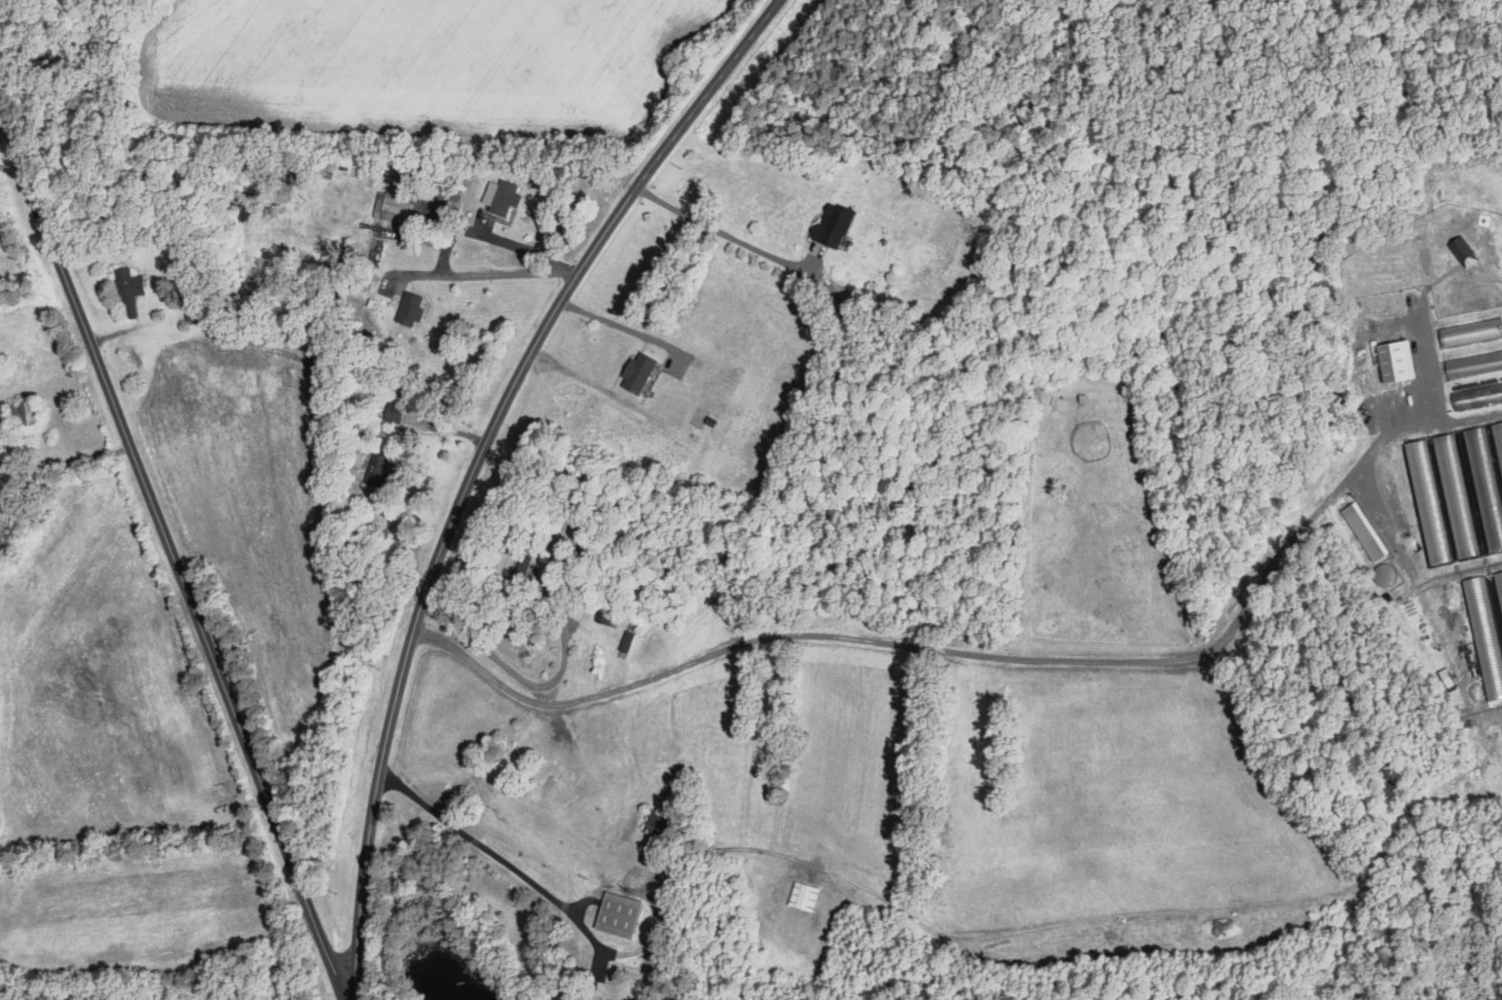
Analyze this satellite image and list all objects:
building: (503, 197)
building: (394, 206)
building: (830, 226)
road: (722, 230)
road: (446, 243)
building: (1464, 248)
building: (128, 290)
building: (409, 309)
road: (613, 322)
building: (1470, 329)
building: (1398, 357)
building: (1475, 364)
building: (636, 372)
building: (1479, 393)
building: (21, 410)
building: (392, 412)
road: (476, 465)
building: (375, 471)
building: (1460, 487)
building: (1361, 524)
road: (173, 555)
building: (1499, 580)
road: (944, 648)
road: (510, 670)
building: (651, 821)
road: (503, 860)
building: (802, 896)
building: (616, 914)

